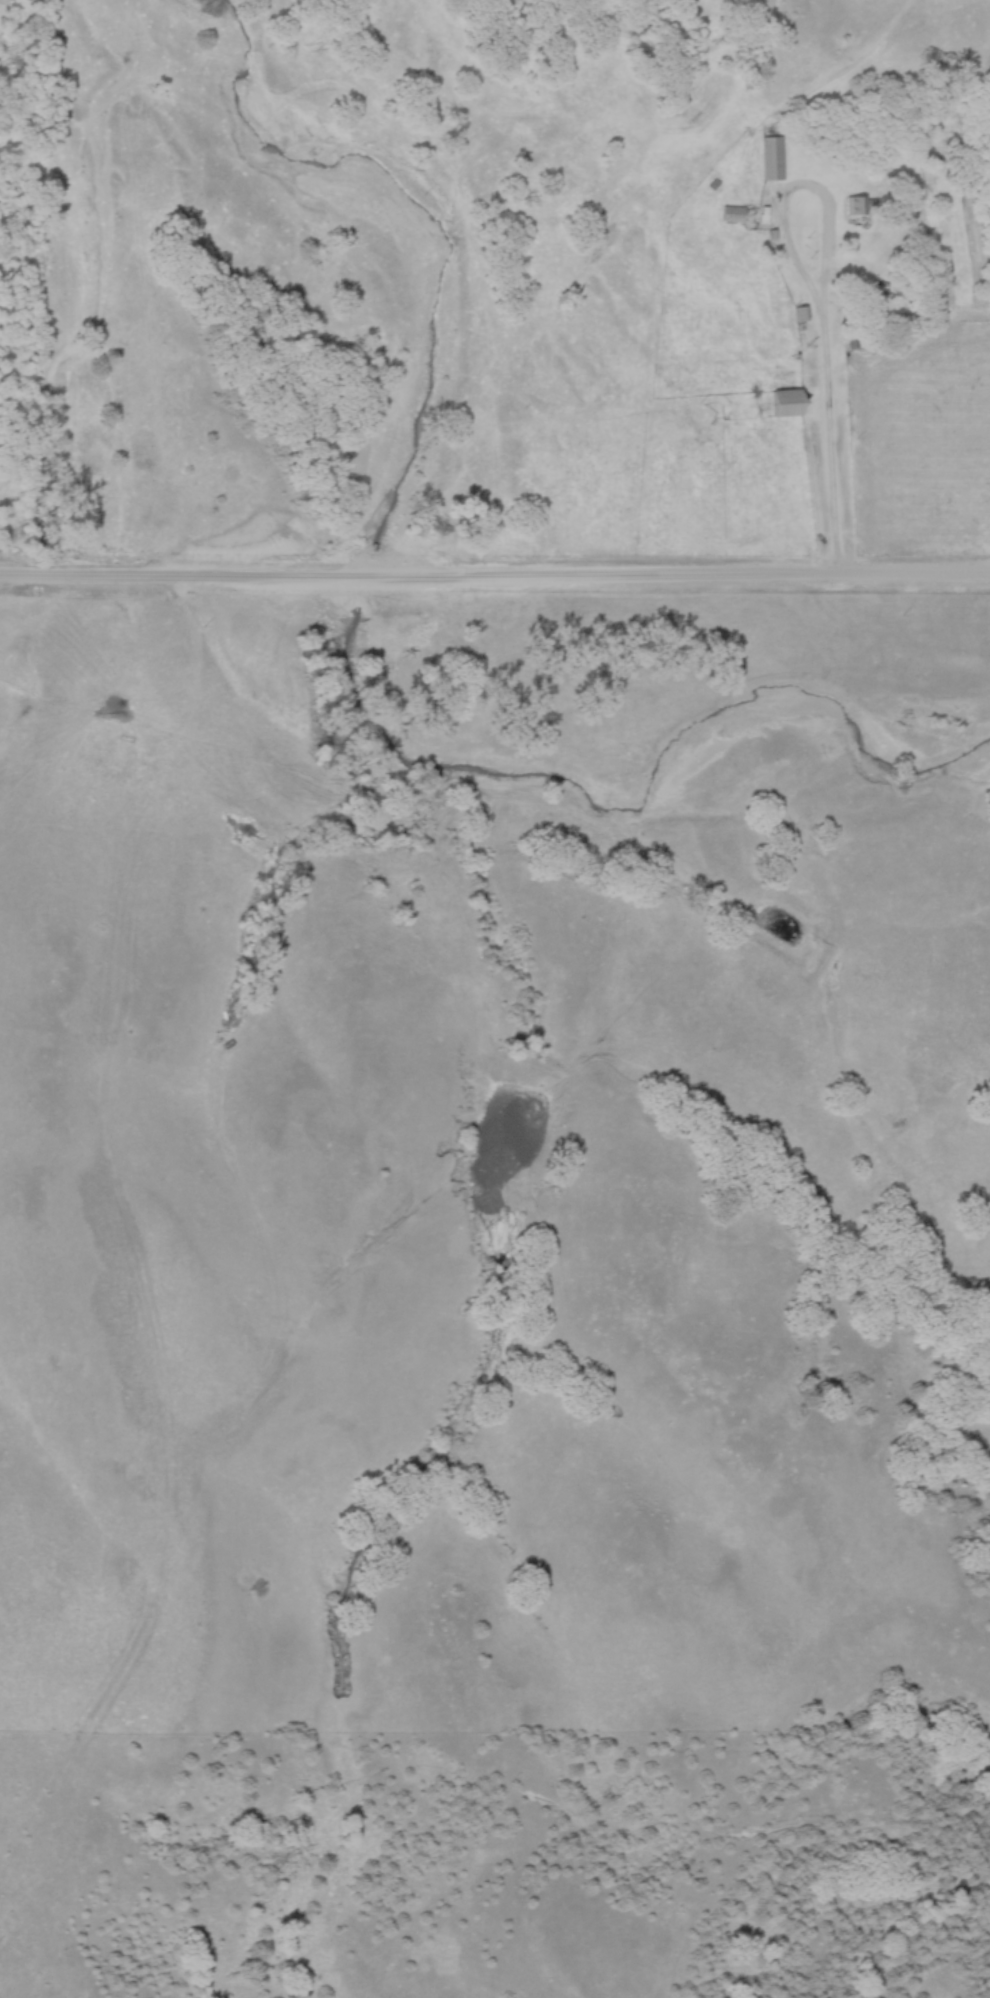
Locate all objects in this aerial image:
building: (770, 159)
road: (820, 196)
building: (736, 216)
building: (800, 314)
building: (783, 403)
road: (835, 437)
road: (494, 580)

